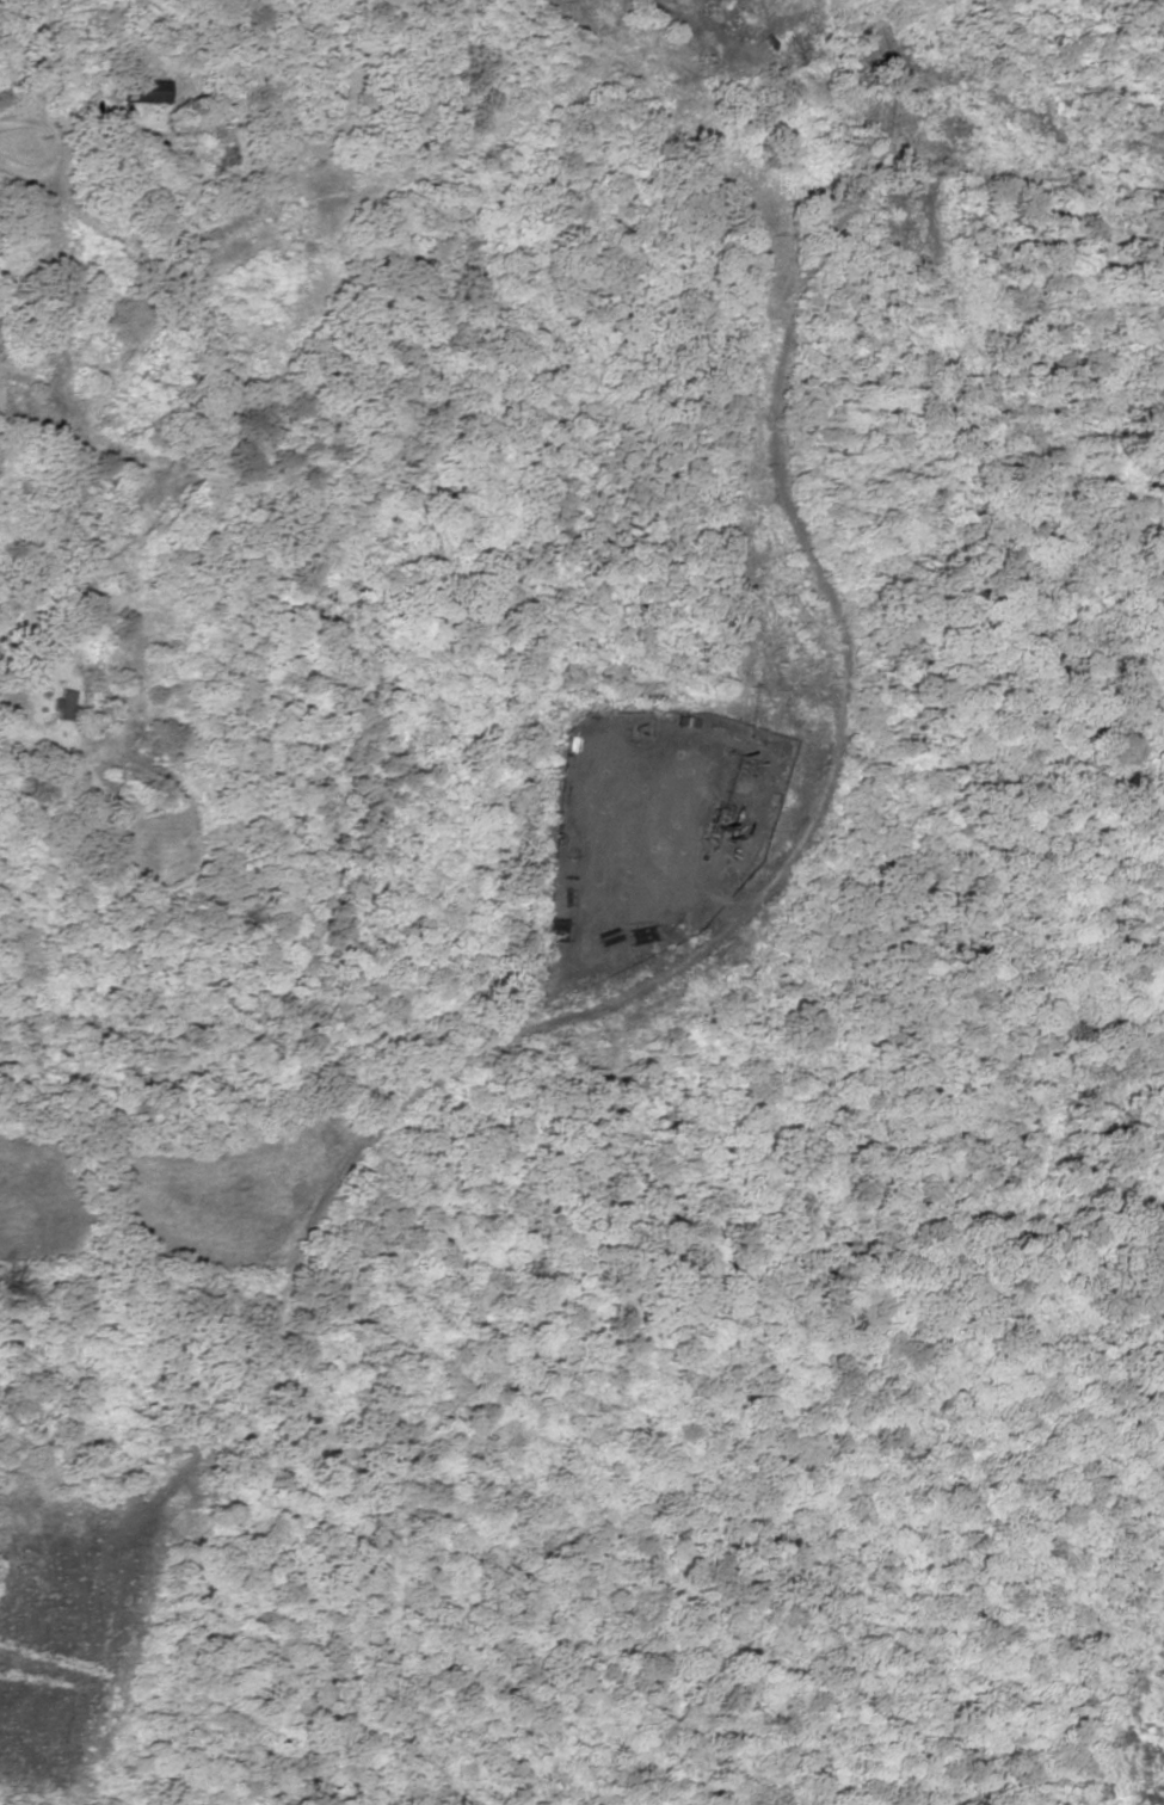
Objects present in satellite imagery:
building: (143, 92)
building: (220, 143)
building: (75, 500)
road: (836, 500)
road: (153, 519)
road: (1049, 1786)

